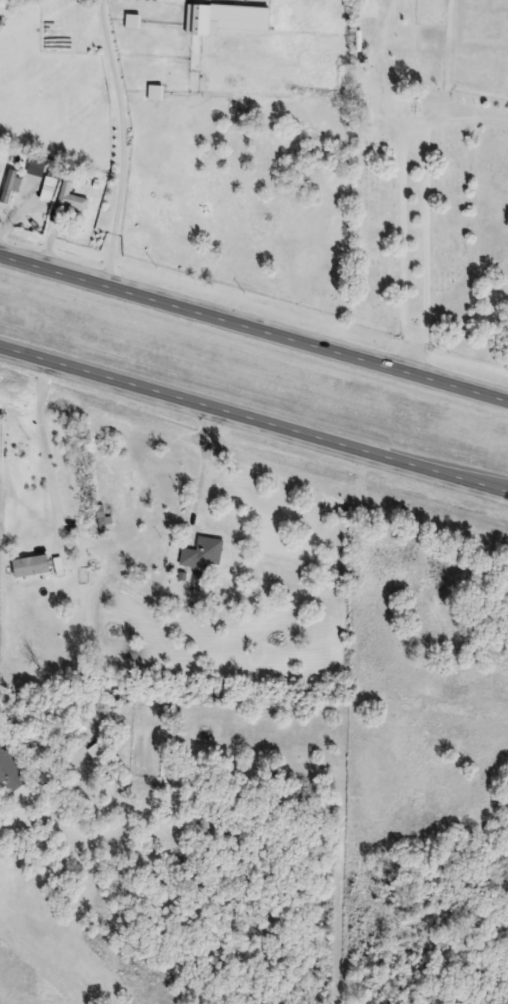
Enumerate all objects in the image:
building: (200, 20)
road: (380, 66)
building: (156, 94)
road: (466, 122)
road: (118, 141)
park: (429, 169)
building: (11, 186)
building: (71, 199)
road: (253, 326)
road: (424, 327)
road: (415, 353)
road: (253, 425)
road: (43, 447)
building: (204, 554)
building: (33, 568)
building: (9, 769)

